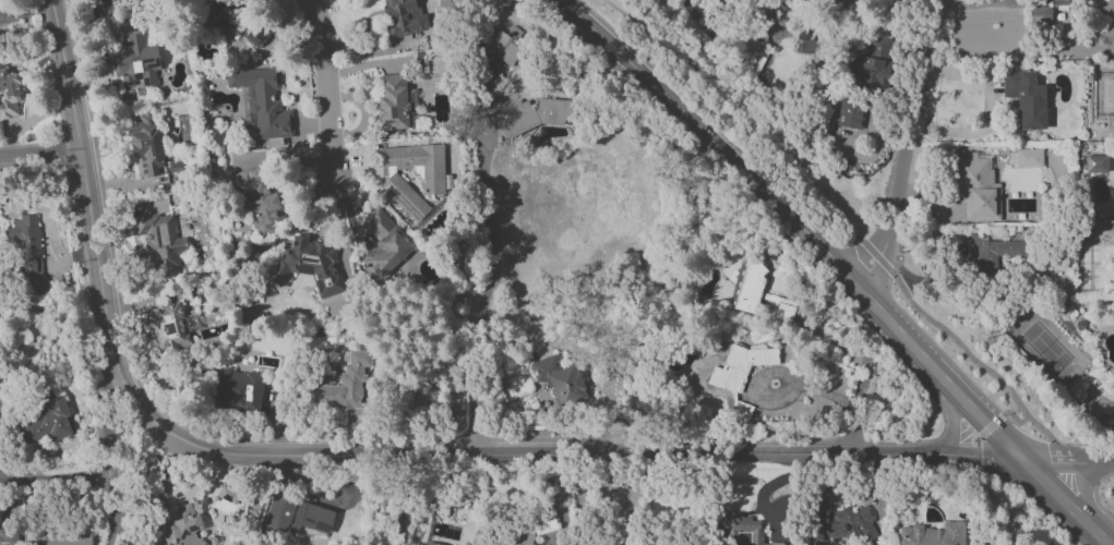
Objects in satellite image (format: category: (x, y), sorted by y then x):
building: (1059, 2)
building: (98, 3)
road: (971, 3)
road: (23, 12)
building: (1040, 14)
building: (402, 17)
building: (239, 24)
building: (501, 51)
building: (134, 59)
building: (869, 68)
road: (330, 90)
building: (9, 94)
building: (1026, 98)
building: (261, 104)
building: (396, 104)
road: (986, 109)
building: (528, 114)
building: (849, 114)
road: (696, 122)
road: (911, 147)
building: (149, 148)
building: (1028, 158)
road: (40, 159)
building: (1095, 163)
building: (432, 182)
building: (974, 187)
building: (259, 202)
road: (843, 225)
building: (159, 242)
building: (384, 245)
building: (27, 252)
building: (991, 253)
road: (490, 259)
building: (308, 265)
road: (842, 268)
building: (168, 327)
road: (901, 331)
building: (739, 376)
road: (788, 376)
building: (559, 380)
building: (345, 383)
building: (238, 390)
road: (860, 419)
road: (1015, 419)
building: (47, 420)
road: (953, 422)
road: (979, 436)
road: (1020, 452)
road: (974, 455)
road: (311, 456)
road: (1068, 459)
road: (107, 465)
road: (52, 481)
road: (1085, 491)
building: (227, 494)
road: (406, 500)
building: (297, 516)
building: (840, 524)
building: (179, 525)
building: (4, 535)
building: (932, 535)
building: (60, 536)
road: (1101, 537)
building: (525, 540)

